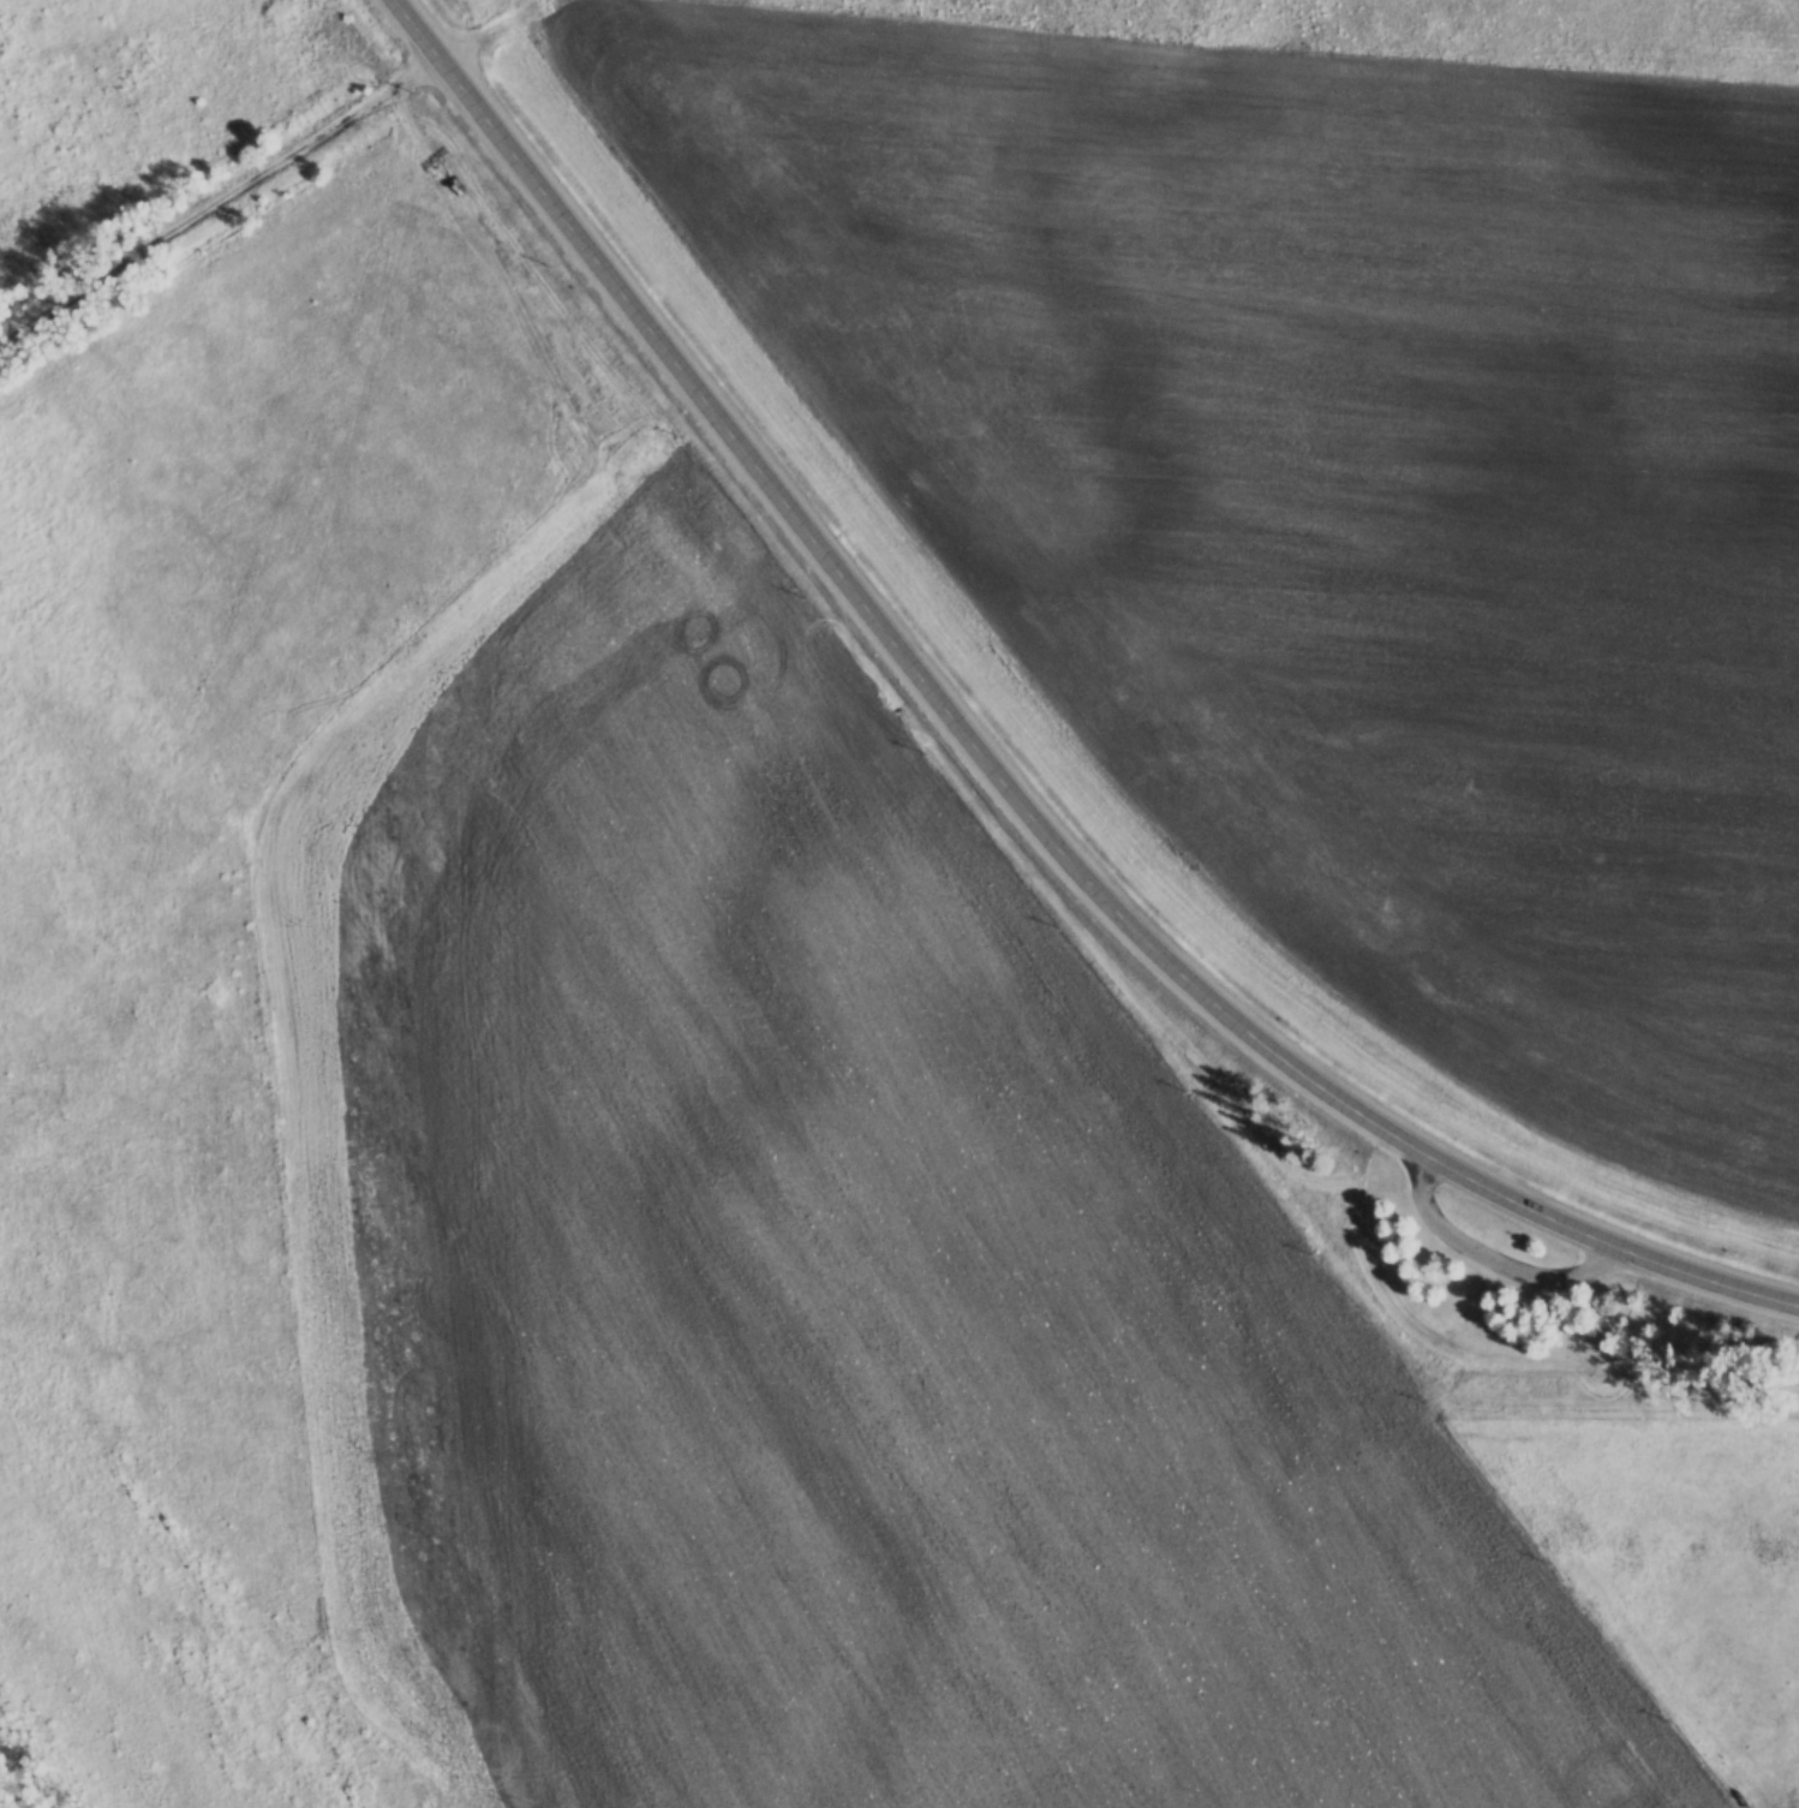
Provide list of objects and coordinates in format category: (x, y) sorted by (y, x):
road: (414, 28)
road: (219, 198)
road: (1016, 804)
road: (1488, 1257)
park: (1469, 1261)
road: (1484, 1263)
road: (1482, 1269)
road: (1474, 1284)
road: (1524, 1291)

